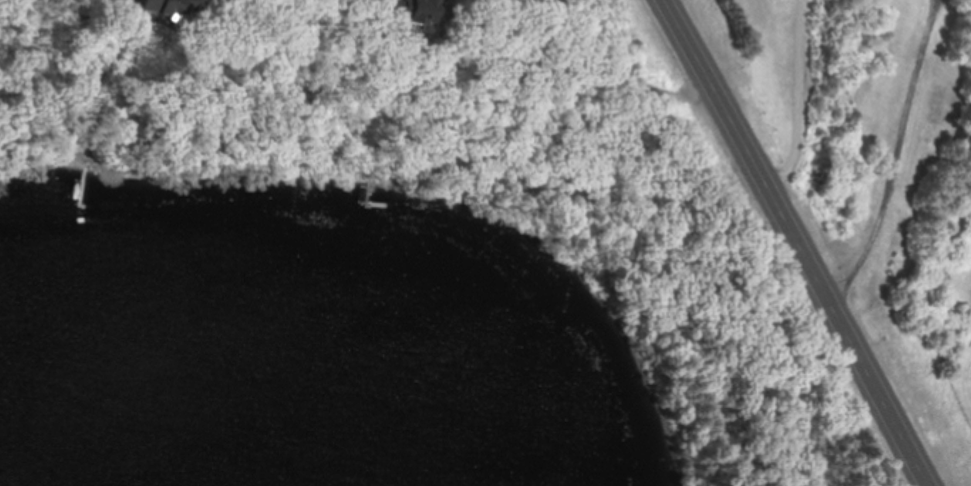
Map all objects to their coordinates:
building: (166, 7)
building: (415, 14)
road: (802, 107)
road: (900, 161)
road: (797, 243)

